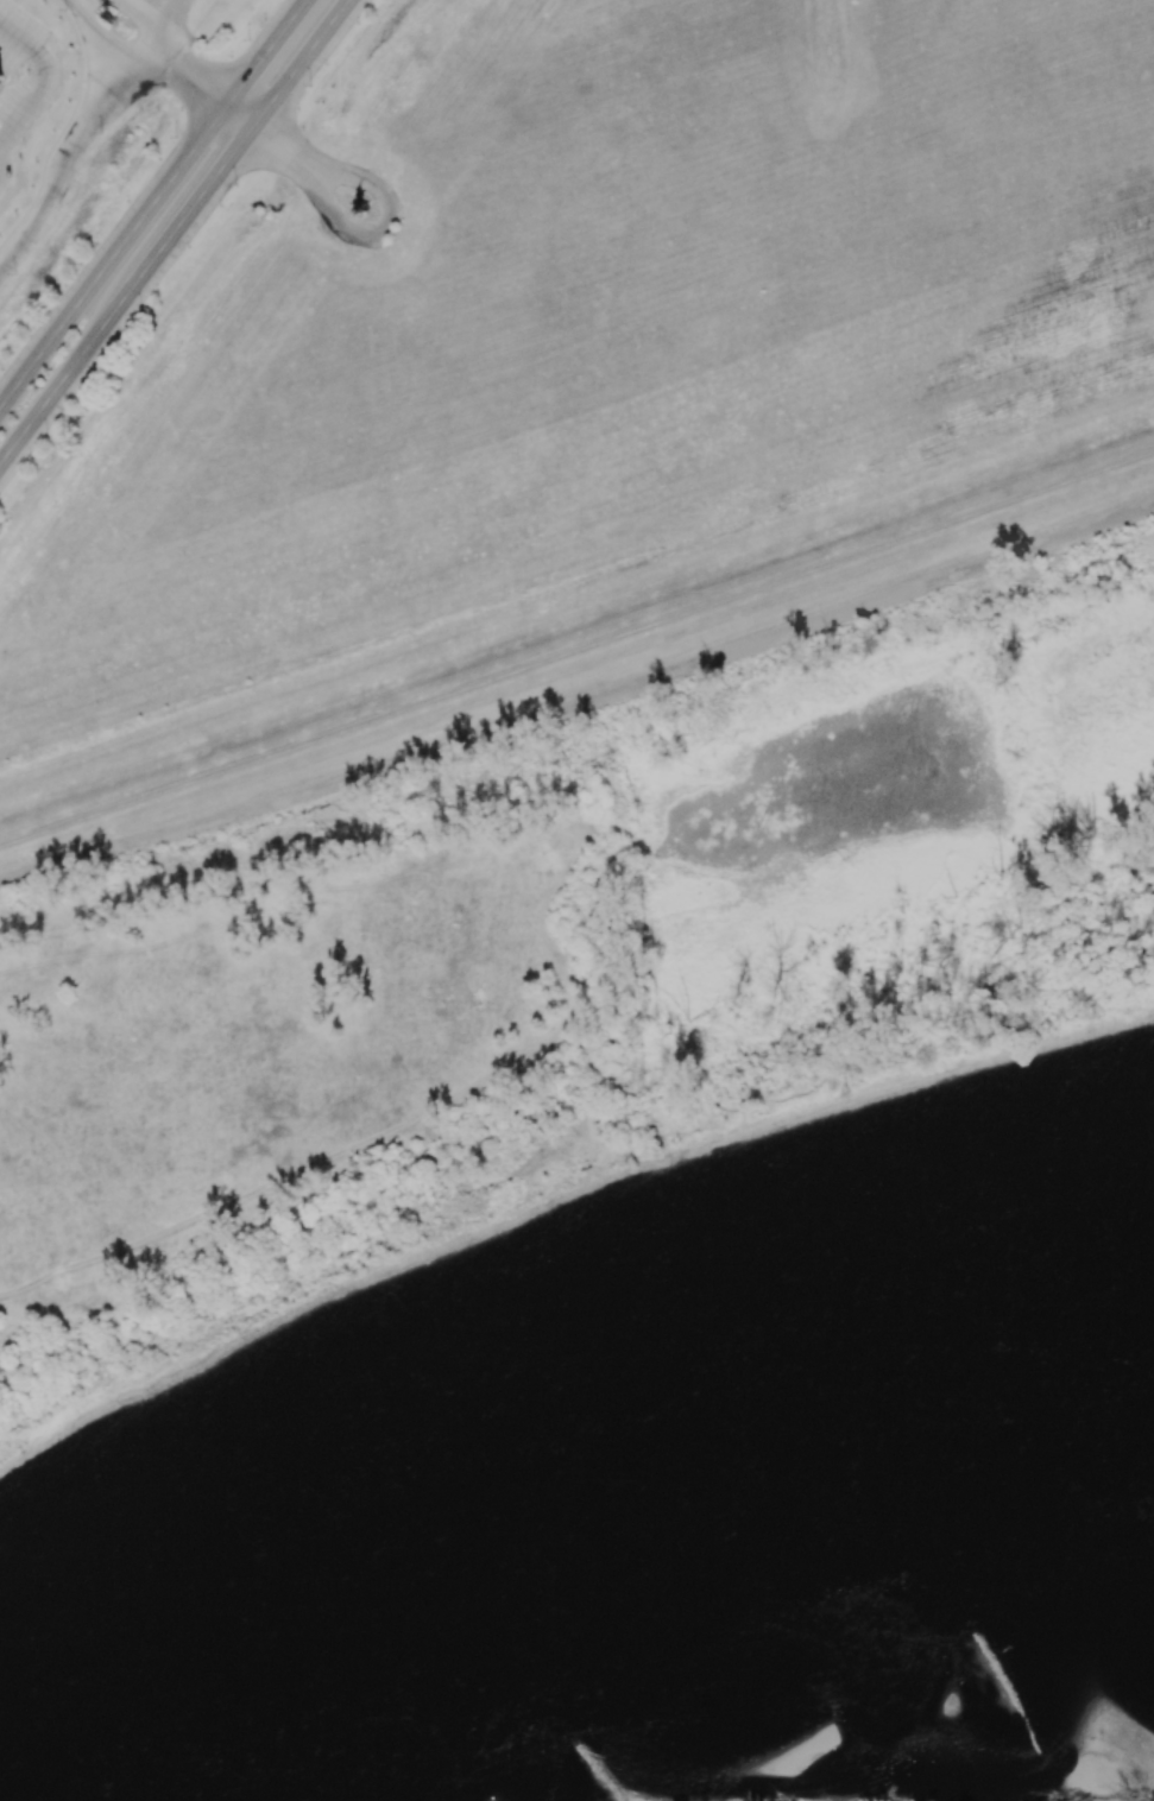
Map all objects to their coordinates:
road: (140, 19)
road: (105, 42)
road: (303, 62)
building: (0, 71)
road: (206, 84)
road: (33, 94)
road: (82, 131)
road: (278, 156)
road: (152, 202)
road: (374, 230)
road: (128, 292)
road: (580, 703)
river: (585, 1533)

